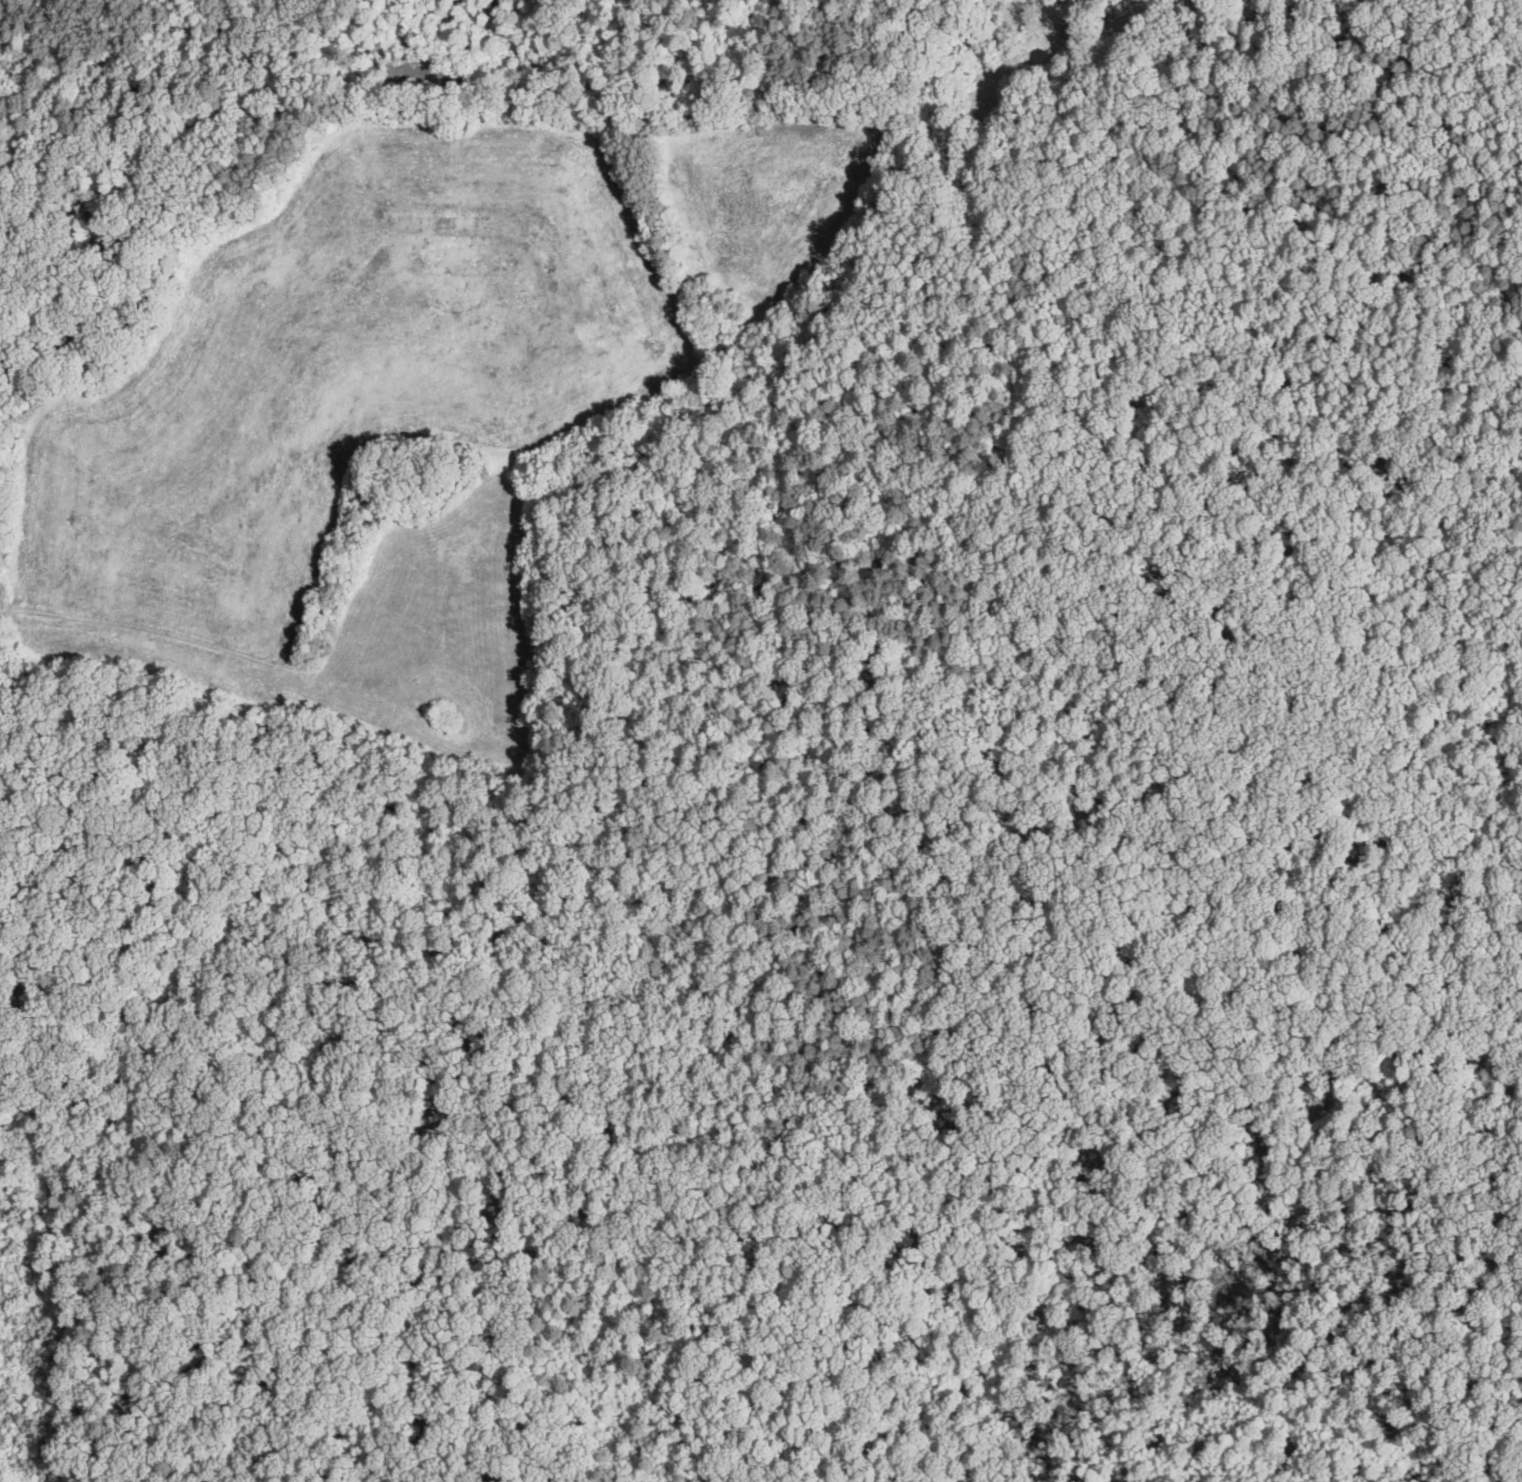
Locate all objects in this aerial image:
road: (1049, 1)

